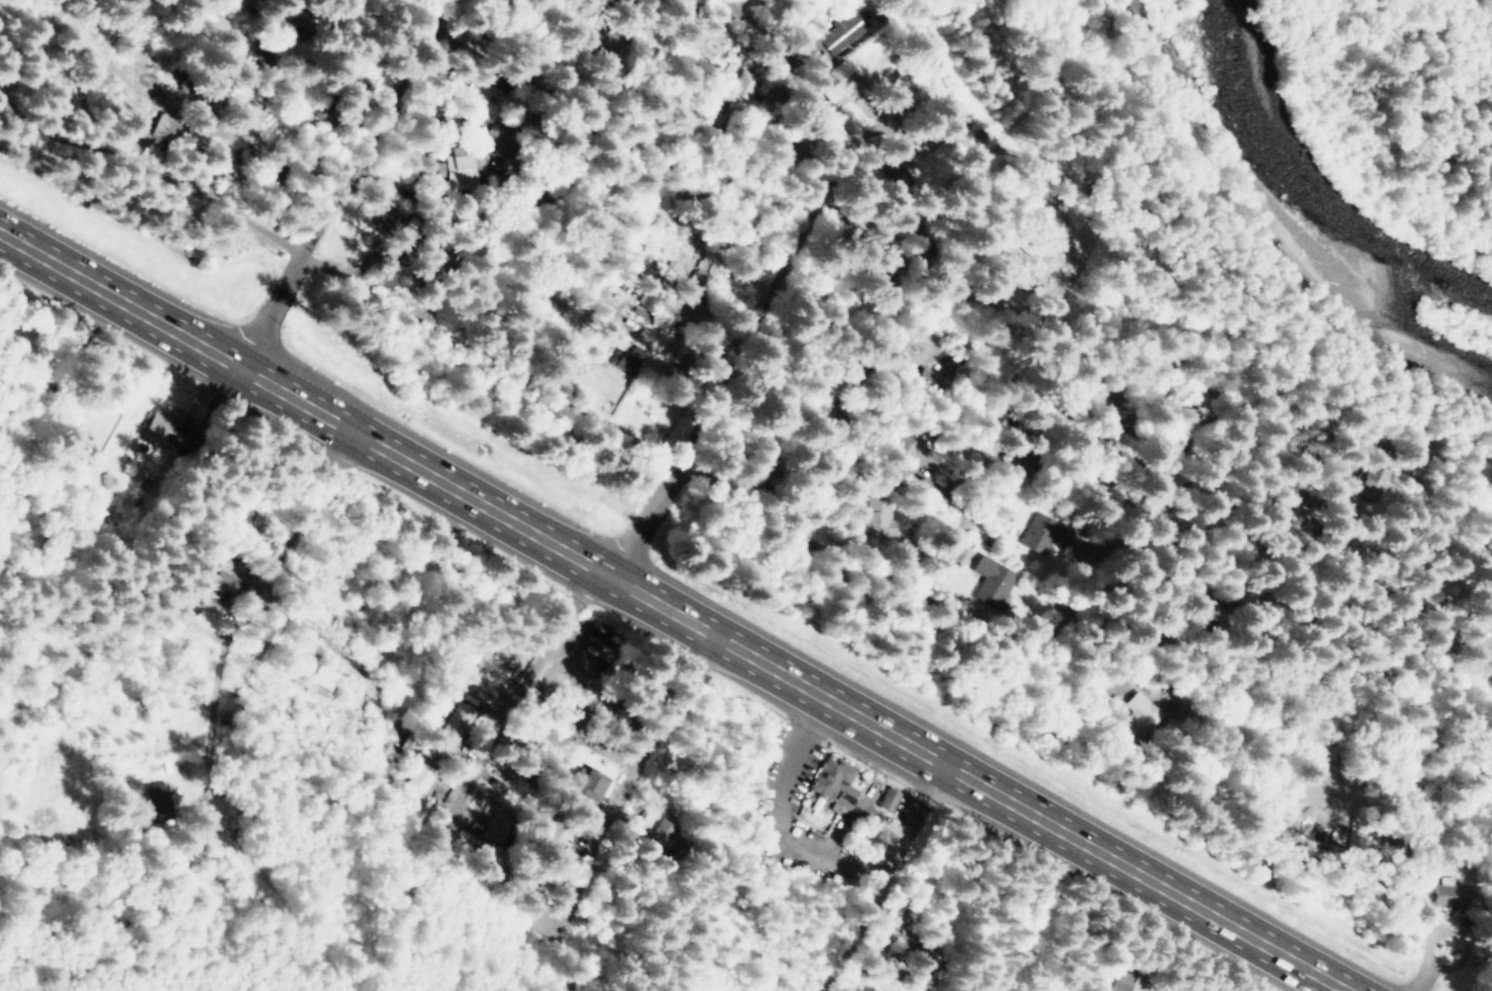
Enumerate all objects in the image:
building: (307, 21)
building: (842, 31)
road: (736, 42)
road: (789, 75)
building: (845, 76)
road: (201, 81)
road: (94, 83)
building: (744, 84)
building: (325, 114)
building: (166, 127)
building: (500, 139)
building: (456, 167)
road: (503, 182)
river: (1309, 210)
building: (401, 225)
road: (615, 252)
road: (299, 253)
building: (642, 314)
building: (644, 338)
building: (676, 353)
building: (627, 359)
building: (926, 376)
road: (1355, 418)
building: (162, 424)
building: (917, 445)
building: (1024, 461)
road: (835, 472)
building: (1371, 480)
road: (772, 513)
building: (876, 517)
road: (292, 533)
building: (1043, 533)
road: (941, 536)
road: (600, 573)
road: (432, 580)
building: (992, 581)
building: (217, 591)
road: (674, 612)
road: (1198, 629)
building: (322, 681)
road: (211, 697)
building: (1143, 710)
road: (662, 712)
building: (453, 728)
road: (787, 759)
building: (421, 777)
building: (836, 781)
building: (592, 784)
building: (889, 798)
building: (157, 801)
road: (601, 820)
building: (496, 827)
building: (662, 829)
road: (886, 878)
building: (1449, 895)
road: (1443, 941)
building: (1121, 980)

